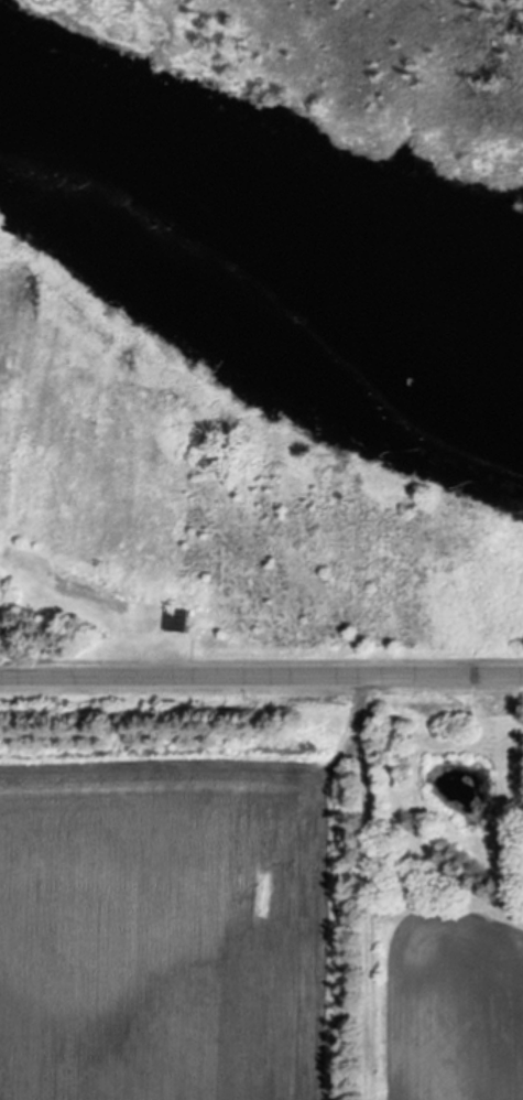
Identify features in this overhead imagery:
river: (261, 223)
building: (181, 623)
road: (261, 677)

